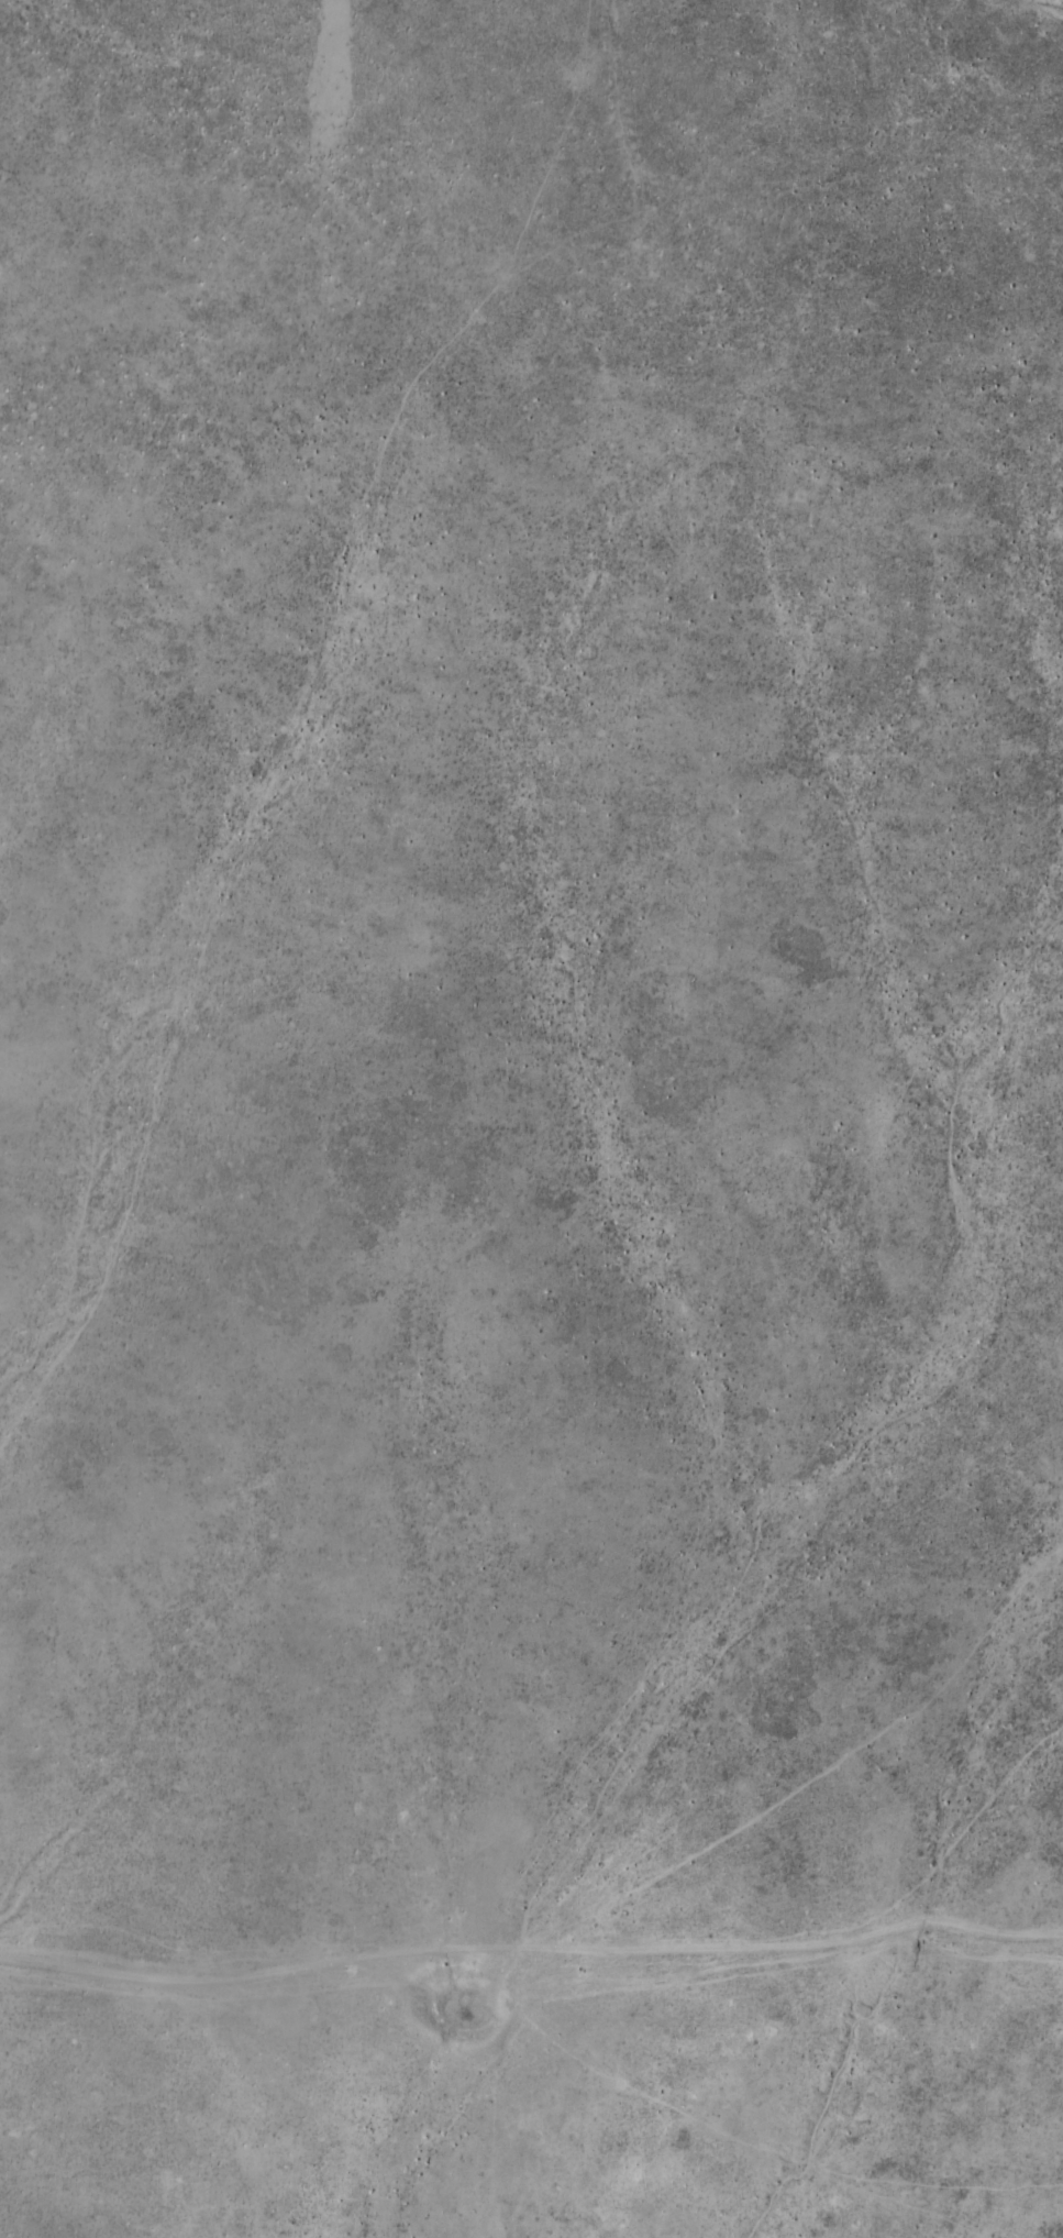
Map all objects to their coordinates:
road: (514, 1788)

